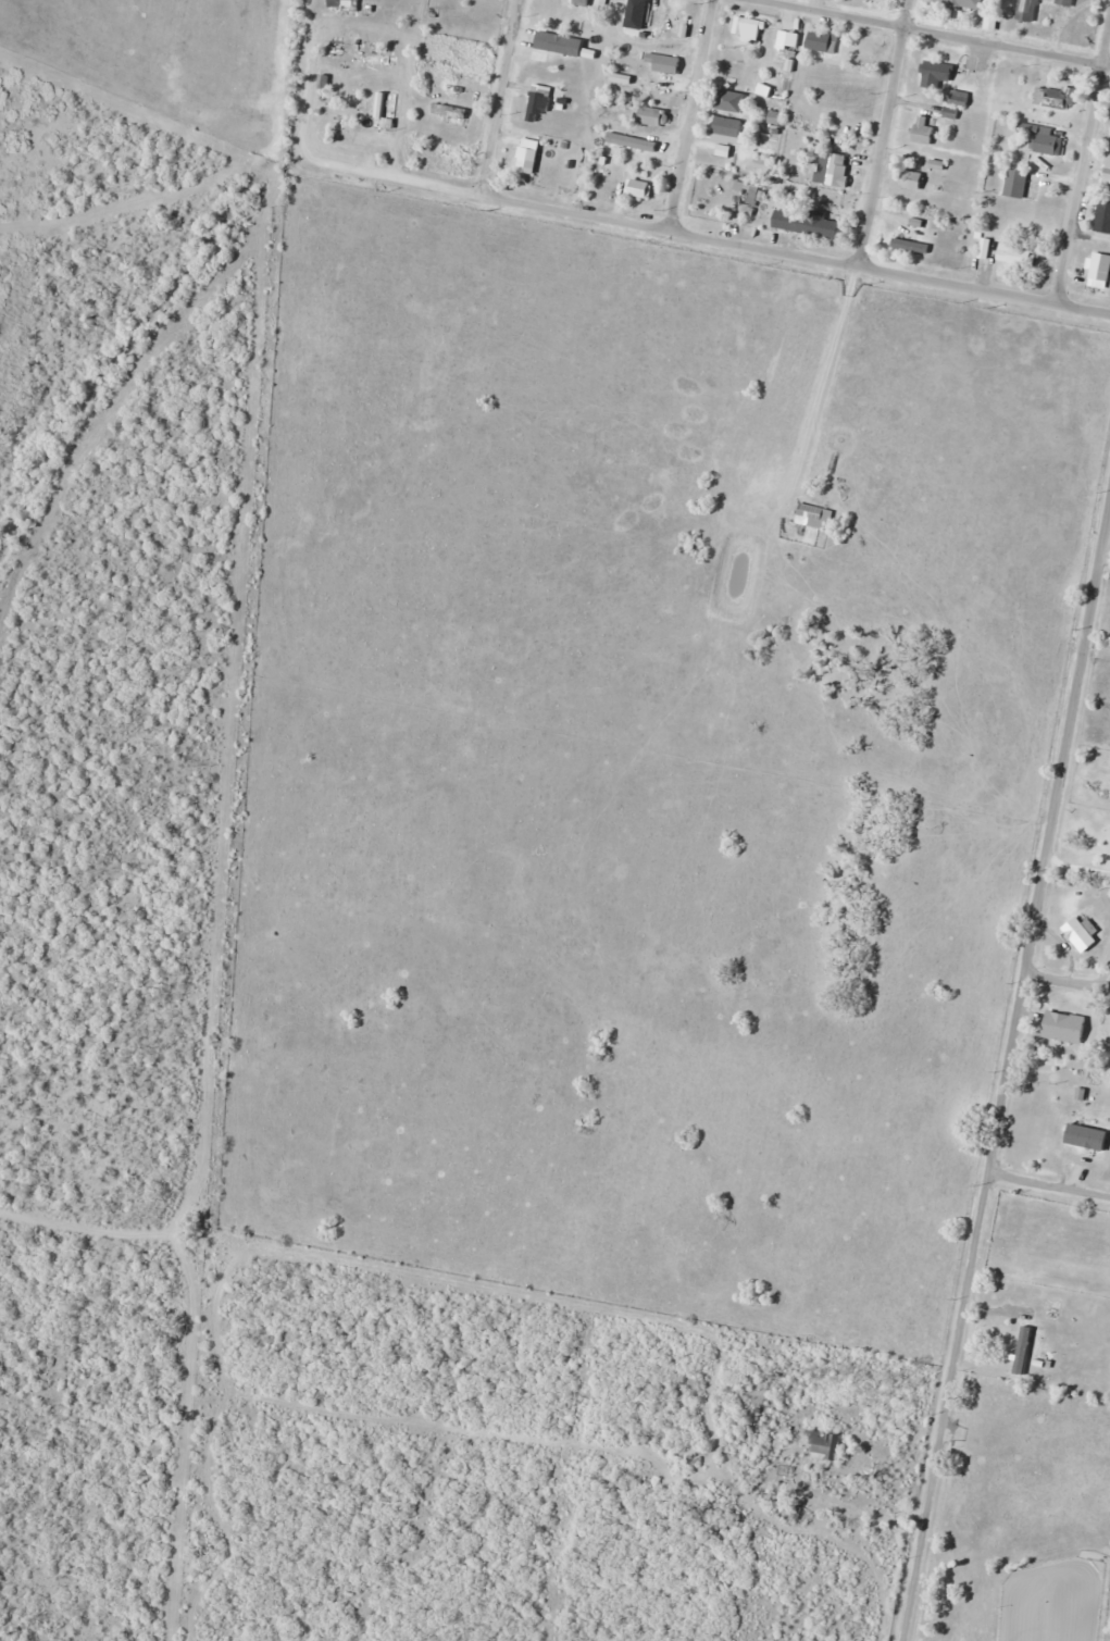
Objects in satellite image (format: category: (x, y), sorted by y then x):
building: (575, 2)
building: (1065, 2)
building: (962, 3)
building: (344, 4)
building: (646, 10)
building: (1027, 10)
building: (749, 29)
road: (935, 33)
building: (790, 37)
building: (823, 40)
building: (539, 59)
building: (663, 63)
building: (938, 73)
building: (851, 92)
road: (501, 96)
building: (960, 98)
building: (1048, 98)
building: (731, 101)
building: (538, 104)
building: (449, 111)
road: (694, 113)
building: (654, 116)
building: (728, 129)
building: (924, 130)
road: (878, 132)
building: (1043, 139)
building: (633, 142)
building: (527, 156)
road: (1083, 159)
building: (635, 164)
building: (833, 169)
building: (1107, 171)
building: (913, 179)
building: (1018, 181)
building: (639, 189)
building: (748, 197)
building: (1102, 217)
building: (807, 223)
road: (670, 226)
building: (906, 241)
building: (983, 248)
building: (1005, 254)
building: (1094, 265)
road: (824, 384)
building: (814, 515)
building: (1081, 934)
road: (1068, 980)
building: (1056, 1025)
road: (1006, 1076)
building: (1057, 1143)
road: (1049, 1184)
building: (1023, 1347)
building: (823, 1445)

